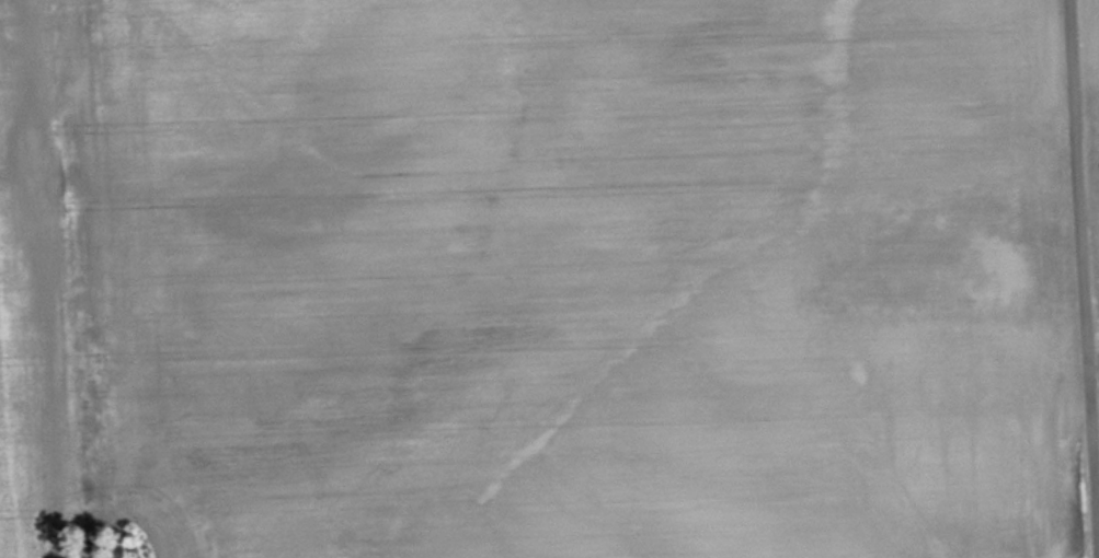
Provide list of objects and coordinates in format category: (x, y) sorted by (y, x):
building: (1012, 279)
road: (1085, 279)

